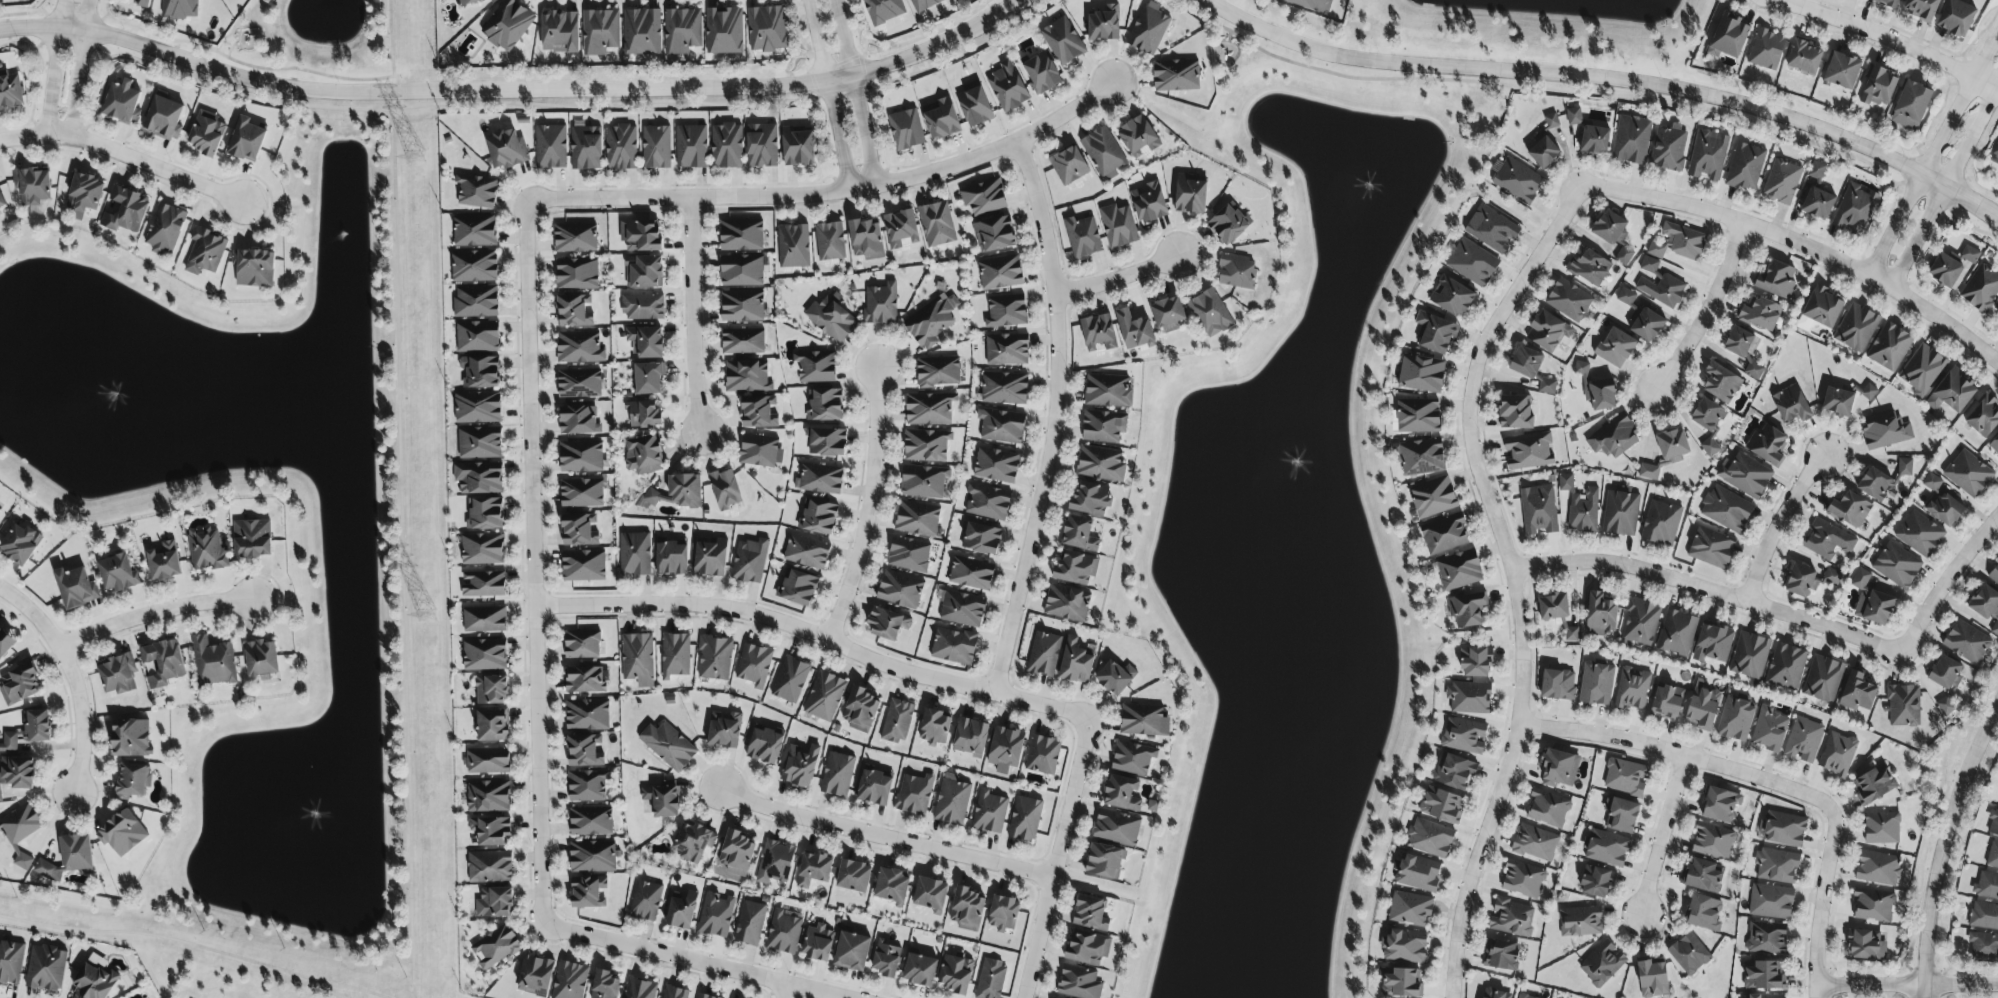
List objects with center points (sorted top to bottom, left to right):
building: (469, 2)
building: (1887, 2)
building: (142, 3)
building: (923, 4)
building: (1313, 4)
building: (180, 8)
building: (1921, 9)
building: (883, 10)
building: (1956, 18)
building: (1104, 24)
building: (507, 25)
building: (766, 29)
building: (1148, 29)
building: (682, 30)
building: (560, 31)
building: (600, 31)
building: (724, 31)
building: (642, 32)
building: (1729, 36)
road: (844, 37)
road: (816, 39)
building: (1062, 41)
road: (1891, 42)
building: (1766, 49)
building: (1803, 57)
road: (55, 66)
road: (79, 67)
building: (1842, 71)
building: (1041, 72)
building: (1176, 75)
road: (1610, 78)
building: (1878, 86)
building: (1008, 87)
road: (512, 90)
building: (10, 91)
building: (122, 102)
building: (974, 104)
building: (1910, 105)
building: (1574, 116)
building: (164, 118)
building: (941, 118)
building: (906, 129)
road: (863, 130)
building: (206, 134)
road: (23, 135)
road: (835, 135)
building: (1138, 137)
building: (246, 140)
building: (1594, 140)
building: (1631, 140)
building: (761, 145)
building: (1545, 145)
building: (691, 146)
building: (726, 146)
building: (798, 146)
building: (551, 147)
building: (621, 147)
building: (656, 147)
building: (586, 148)
building: (1669, 148)
building: (506, 149)
building: (1996, 151)
building: (1104, 152)
road: (1932, 154)
building: (1708, 155)
power tower: (414, 158)
road: (145, 163)
building: (1068, 165)
building: (1745, 166)
building: (1816, 170)
building: (1517, 180)
building: (1781, 182)
road: (1945, 185)
building: (33, 189)
building: (477, 191)
road: (828, 191)
fountain: (1364, 193)
building: (1190, 194)
building: (83, 195)
building: (984, 197)
building: (2, 202)
building: (1149, 202)
building: (1818, 203)
building: (1855, 209)
building: (124, 210)
building: (936, 224)
building: (1228, 224)
building: (1118, 226)
building: (900, 228)
building: (165, 229)
building: (1491, 229)
building: (474, 230)
road: (1739, 232)
building: (994, 234)
building: (640, 235)
building: (741, 235)
building: (1613, 235)
building: (1082, 237)
building: (575, 238)
building: (866, 239)
building: (1683, 240)
building: (829, 241)
building: (793, 246)
building: (1656, 250)
building: (205, 252)
building: (1969, 254)
building: (1472, 262)
building: (1649, 265)
building: (474, 266)
building: (1590, 267)
building: (254, 268)
building: (743, 270)
building: (1945, 270)
building: (644, 271)
building: (1000, 272)
building: (1237, 272)
building: (577, 273)
road: (1117, 277)
building: (1776, 280)
road: (1878, 280)
building: (1980, 288)
building: (1662, 290)
building: (1451, 296)
building: (1625, 296)
building: (1568, 300)
building: (476, 301)
building: (880, 304)
building: (742, 306)
building: (643, 307)
building: (1822, 307)
building: (574, 310)
building: (1006, 311)
building: (1996, 312)
building: (1210, 313)
building: (1761, 313)
building: (1168, 314)
road: (692, 316)
building: (831, 318)
building: (932, 321)
building: (1645, 323)
building: (1856, 327)
building: (1133, 329)
building: (1548, 331)
building: (1098, 333)
building: (1434, 333)
building: (477, 336)
building: (646, 341)
building: (742, 341)
building: (579, 347)
building: (1889, 347)
building: (1615, 348)
building: (1007, 349)
building: (1741, 349)
building: (1525, 361)
building: (816, 366)
building: (1922, 370)
building: (480, 371)
building: (938, 371)
building: (1421, 373)
building: (747, 376)
building: (648, 378)
building: (1721, 382)
building: (579, 383)
building: (1547, 386)
building: (1004, 388)
building: (1596, 390)
building: (1108, 391)
building: (1869, 392)
building: (1952, 392)
fountain: (114, 396)
building: (1838, 402)
building: (824, 404)
building: (1791, 405)
building: (478, 407)
building: (929, 409)
building: (758, 412)
building: (1515, 412)
building: (643, 414)
building: (1707, 415)
building: (1418, 416)
building: (1983, 416)
road: (1050, 418)
building: (578, 420)
building: (1001, 426)
building: (1103, 426)
building: (1885, 430)
building: (1613, 437)
building: (826, 442)
building: (480, 443)
building: (1994, 444)
building: (926, 445)
building: (1673, 445)
building: (1767, 445)
building: (1709, 446)
building: (760, 451)
building: (1529, 451)
building: (643, 454)
building: (581, 456)
building: (1420, 456)
building: (1101, 464)
building: (996, 465)
building: (1905, 467)
fountain: (1285, 469)
building: (1648, 471)
building: (1968, 474)
building: (1745, 475)
building: (479, 477)
building: (819, 479)
building: (924, 481)
building: (1565, 482)
building: (1874, 484)
building: (725, 489)
building: (678, 491)
building: (582, 493)
building: (1433, 497)
road: (399, 498)
building: (1090, 499)
building: (988, 502)
road: (865, 507)
building: (1539, 509)
building: (1726, 509)
building: (0, 510)
building: (1849, 510)
building: (1583, 511)
building: (485, 513)
building: (1620, 513)
building: (818, 517)
building: (917, 518)
building: (1661, 523)
road: (1783, 529)
building: (579, 530)
building: (1079, 533)
building: (1444, 534)
building: (1919, 534)
building: (252, 538)
building: (982, 539)
building: (1827, 540)
building: (21, 543)
building: (1712, 548)
building: (206, 549)
building: (482, 549)
building: (807, 552)
building: (635, 554)
building: (908, 554)
building: (671, 558)
building: (710, 559)
building: (164, 561)
building: (749, 561)
road: (532, 564)
building: (1897, 565)
building: (584, 566)
building: (1075, 567)
building: (1459, 570)
building: (117, 572)
building: (971, 574)
building: (1994, 574)
road: (1509, 577)
building: (1832, 577)
building: (1801, 581)
road: (1947, 581)
building: (483, 584)
building: (798, 587)
building: (75, 588)
building: (899, 589)
road: (1706, 591)
building: (1871, 601)
building: (1067, 603)
building: (1553, 607)
building: (1986, 607)
building: (962, 609)
building: (1466, 609)
road: (152, 613)
building: (1600, 614)
power tower: (425, 616)
building: (485, 619)
building: (1640, 623)
building: (888, 624)
road: (814, 633)
building: (1677, 633)
building: (1966, 642)
building: (5, 643)
building: (1712, 643)
building: (582, 644)
building: (954, 646)
building: (1044, 654)
building: (484, 655)
building: (675, 655)
building: (1750, 657)
building: (714, 658)
building: (260, 659)
building: (638, 659)
building: (213, 662)
building: (1075, 662)
building: (1477, 662)
building: (162, 663)
building: (754, 665)
building: (1786, 667)
building: (1945, 673)
building: (117, 675)
building: (1115, 677)
road: (68, 679)
building: (586, 679)
building: (1823, 679)
building: (790, 680)
building: (1558, 684)
building: (1596, 684)
building: (19, 685)
building: (1632, 689)
building: (491, 690)
building: (1857, 692)
building: (825, 696)
building: (1469, 698)
building: (1666, 703)
building: (1903, 706)
building: (1945, 706)
building: (1702, 707)
building: (860, 709)
building: (587, 715)
building: (1735, 719)
building: (1141, 720)
building: (897, 721)
building: (36, 726)
building: (491, 726)
building: (934, 727)
building: (724, 729)
building: (1769, 729)
building: (1463, 735)
building: (970, 737)
building: (131, 738)
building: (1803, 740)
building: (9, 742)
building: (668, 746)
building: (765, 746)
building: (1005, 749)
building: (585, 750)
building: (1042, 754)
road: (1679, 754)
building: (1837, 754)
building: (1133, 757)
building: (488, 761)
building: (800, 766)
building: (1558, 768)
building: (16, 772)
building: (1454, 772)
building: (837, 775)
building: (1626, 777)
building: (132, 782)
building: (587, 785)
building: (1873, 785)
building: (874, 788)
building: (1122, 793)
building: (914, 794)
building: (488, 796)
building: (662, 799)
building: (952, 800)
building: (1441, 805)
building: (1720, 805)
building: (1548, 809)
building: (989, 812)
building: (1620, 815)
fountain: (308, 818)
building: (1024, 819)
building: (591, 821)
building: (1993, 824)
building: (1117, 827)
building: (1882, 828)
building: (1783, 829)
building: (20, 830)
building: (490, 830)
building: (122, 833)
road: (880, 836)
road: (1943, 836)
building: (1430, 838)
road: (1666, 839)
building: (693, 841)
building: (1713, 841)
building: (1535, 843)
building: (1607, 848)
building: (76, 852)
building: (736, 853)
building: (592, 856)
building: (1993, 856)
road: (1053, 858)
building: (1105, 861)
building: (775, 862)
building: (1776, 865)
building: (490, 867)
building: (1878, 868)
building: (813, 869)
building: (48, 871)
building: (1418, 873)
building: (1702, 875)
building: (854, 876)
building: (1523, 880)
building: (1596, 882)
building: (1987, 885)
building: (892, 886)
building: (588, 892)
building: (930, 894)
building: (645, 901)
building: (1771, 902)
building: (495, 903)
road: (1818, 904)
building: (1873, 905)
building: (967, 909)
building: (1410, 909)
building: (682, 911)
building: (1003, 913)
building: (1090, 913)
building: (1703, 913)
building: (715, 915)
building: (1984, 916)
building: (1511, 917)
building: (1580, 921)
building: (750, 923)
building: (783, 931)
building: (1766, 938)
building: (818, 943)
road: (192, 945)
building: (1866, 945)
building: (1404, 946)
building: (1983, 946)
building: (495, 947)
building: (1088, 947)
building: (851, 951)
building: (1689, 954)
building: (1501, 955)
building: (886, 959)
building: (11, 962)
road: (690, 962)
building: (1602, 963)
building: (46, 968)
building: (919, 970)
building: (955, 974)
building: (535, 976)
building: (1763, 976)
building: (990, 979)
building: (1652, 979)
building: (570, 980)
building: (94, 981)
building: (1079, 983)
building: (1401, 983)
road: (1906, 984)
building: (605, 985)
building: (639, 988)
road: (1922, 991)
building: (674, 992)
road: (784, 992)
building: (1496, 994)
building: (704, 996)
building: (1523, 996)
building: (1764, 996)

